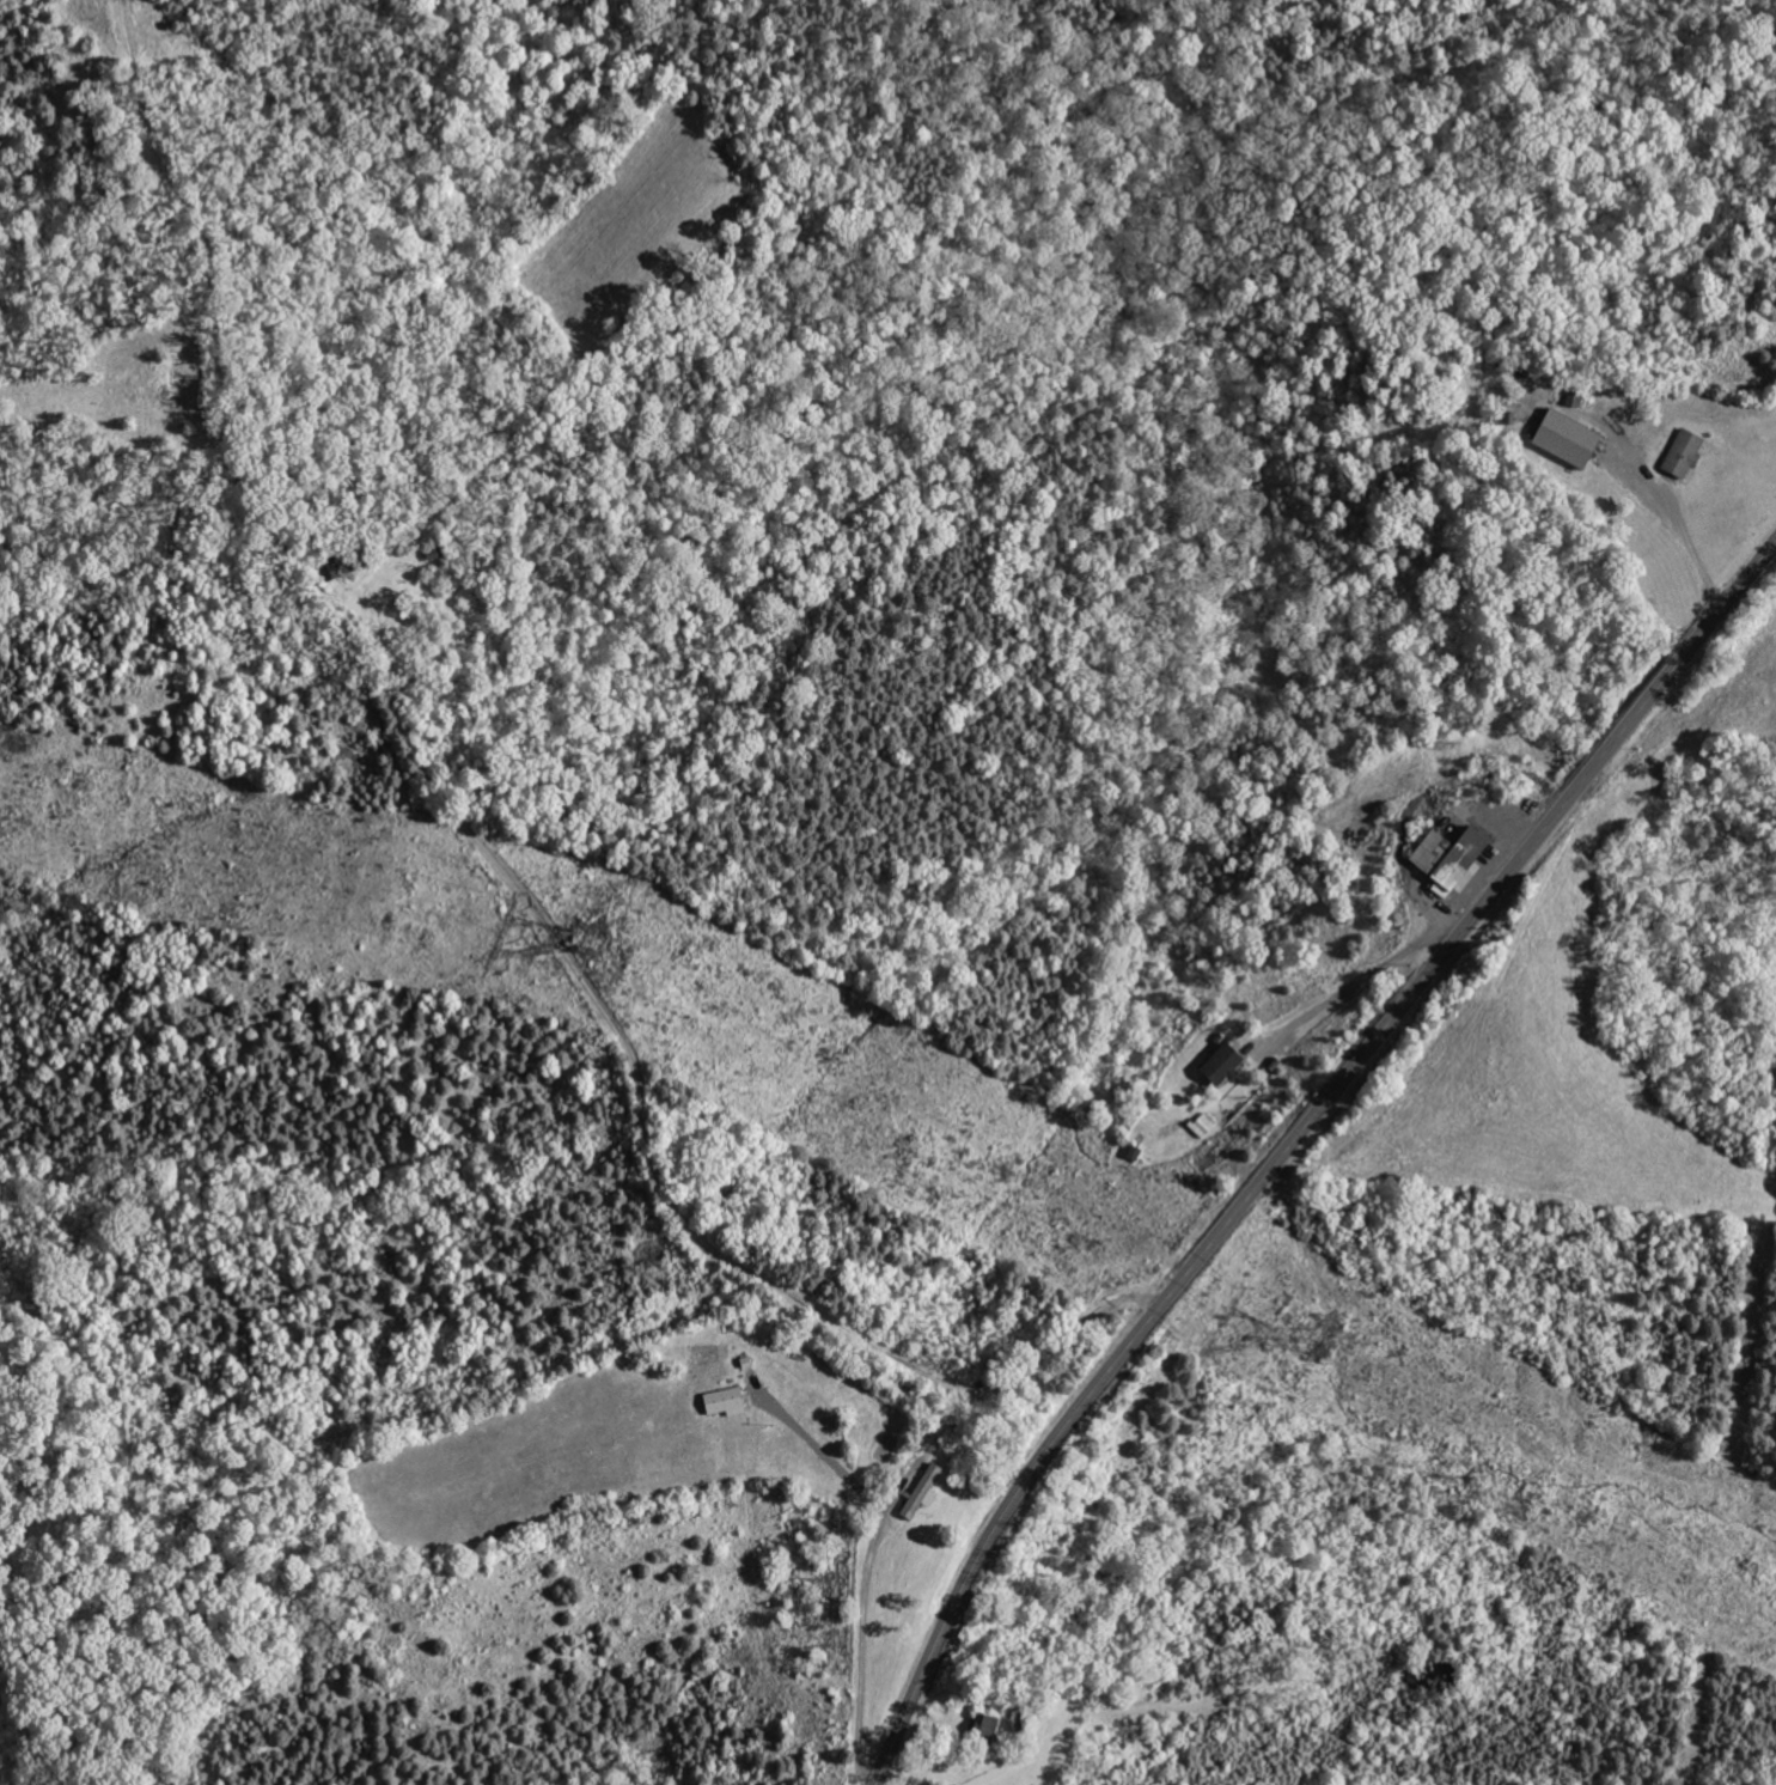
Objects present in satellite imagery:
building: (1561, 439)
building: (1680, 455)
road: (1686, 542)
road: (1420, 794)
building: (1453, 855)
power tower: (604, 943)
road: (1359, 980)
building: (1226, 1064)
road: (1294, 1143)
power tower: (1319, 1338)
building: (736, 1401)
road: (867, 1566)

